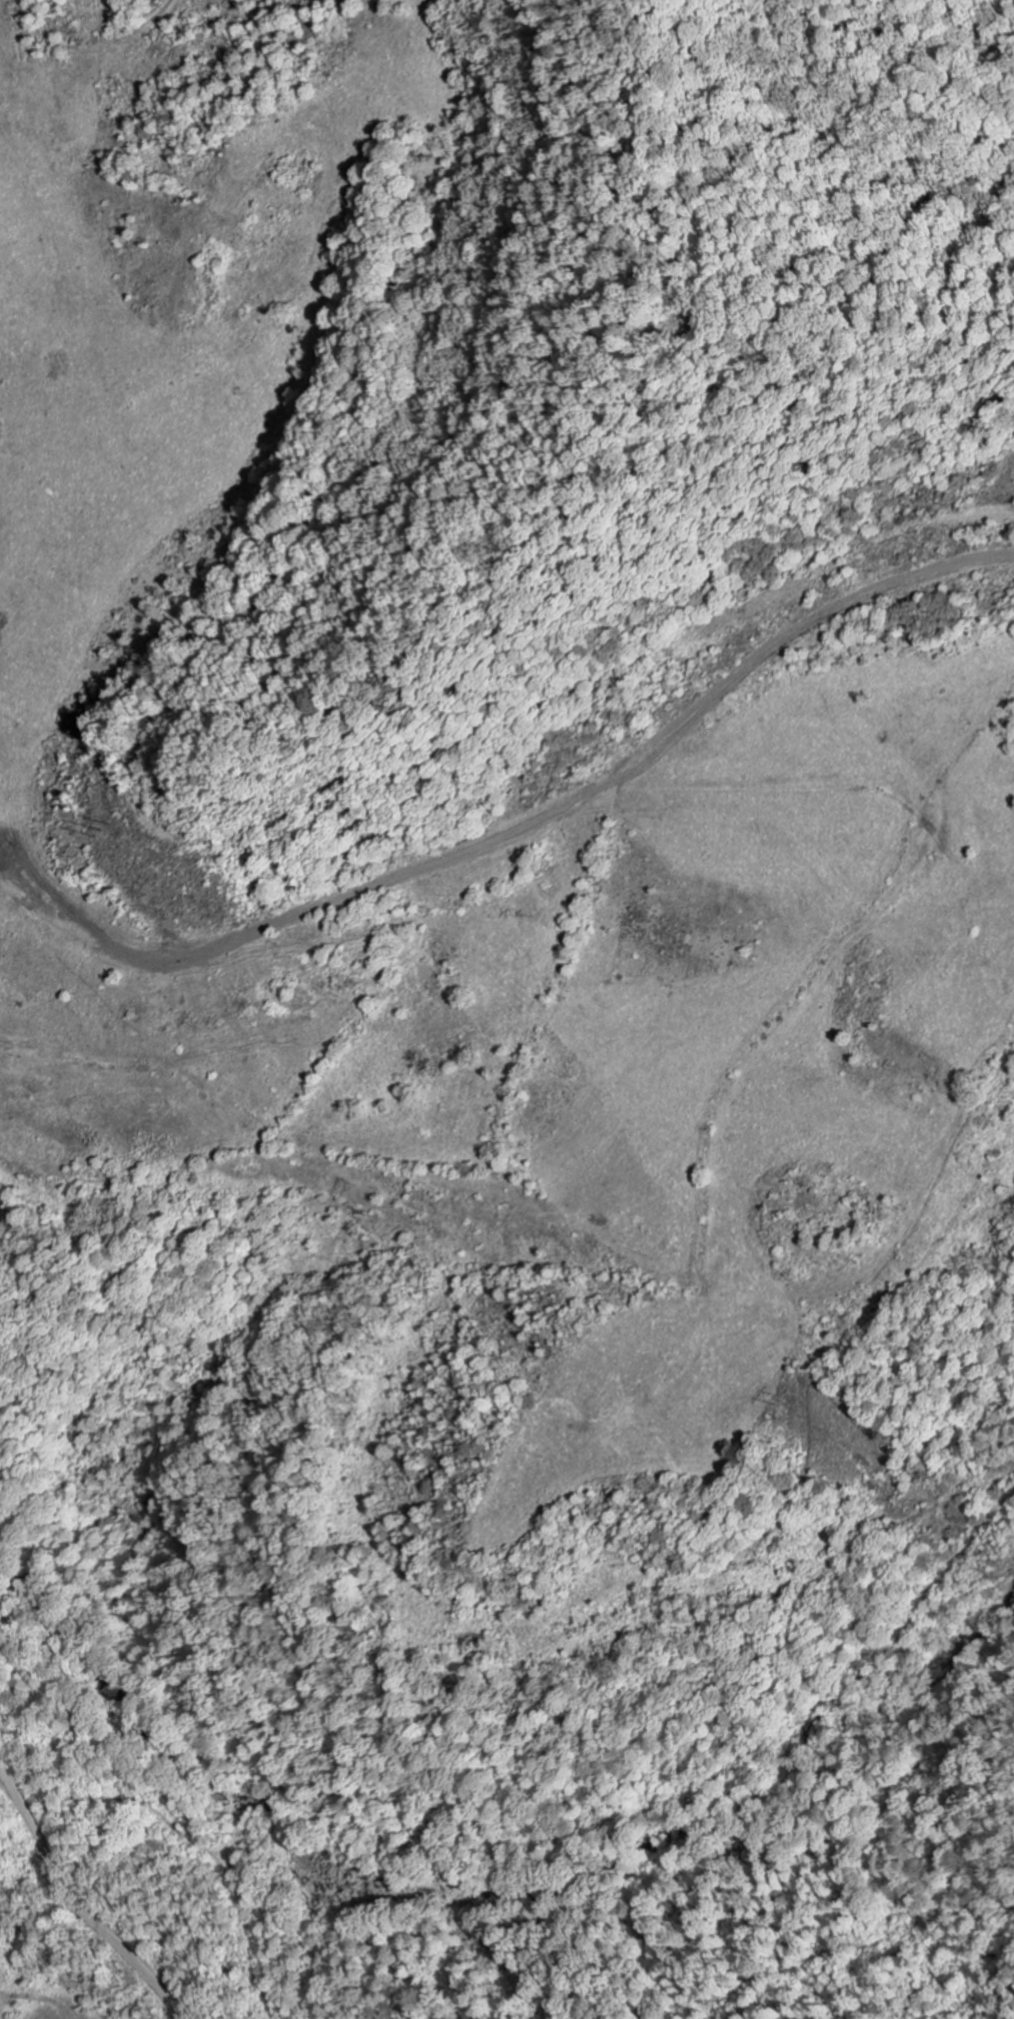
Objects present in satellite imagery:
power tower: (785, 1393)
road: (2, 1781)

